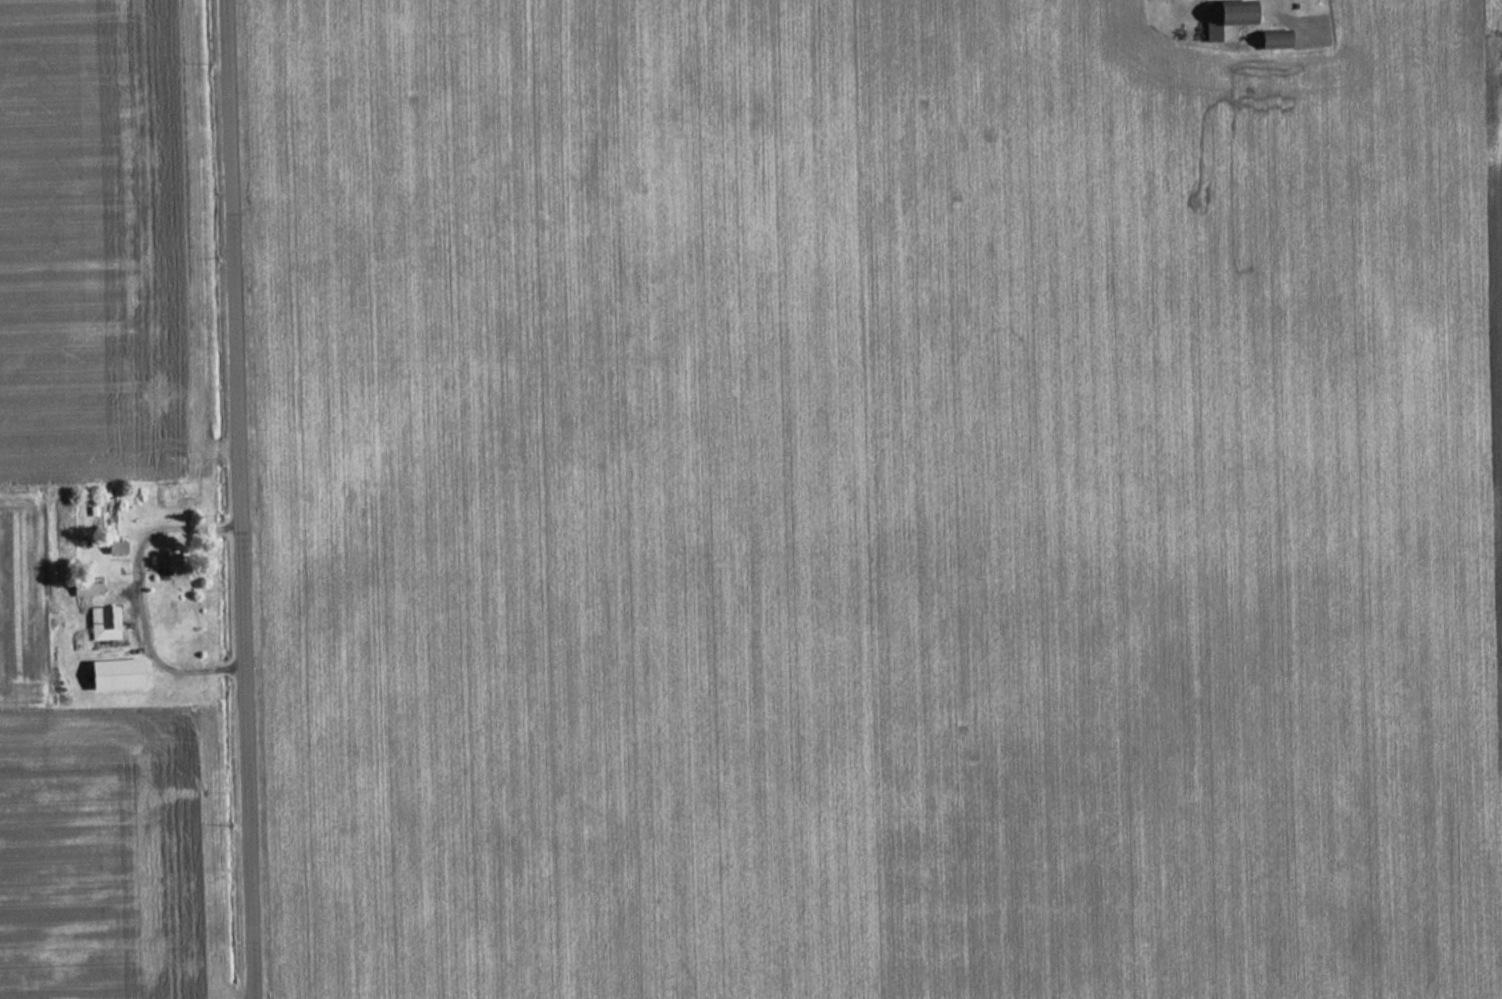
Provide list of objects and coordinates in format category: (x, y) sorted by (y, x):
building: (1221, 20)
crop: (91, 248)
road: (237, 499)
crop: (876, 500)
building: (106, 624)
building: (121, 675)
crop: (100, 856)

